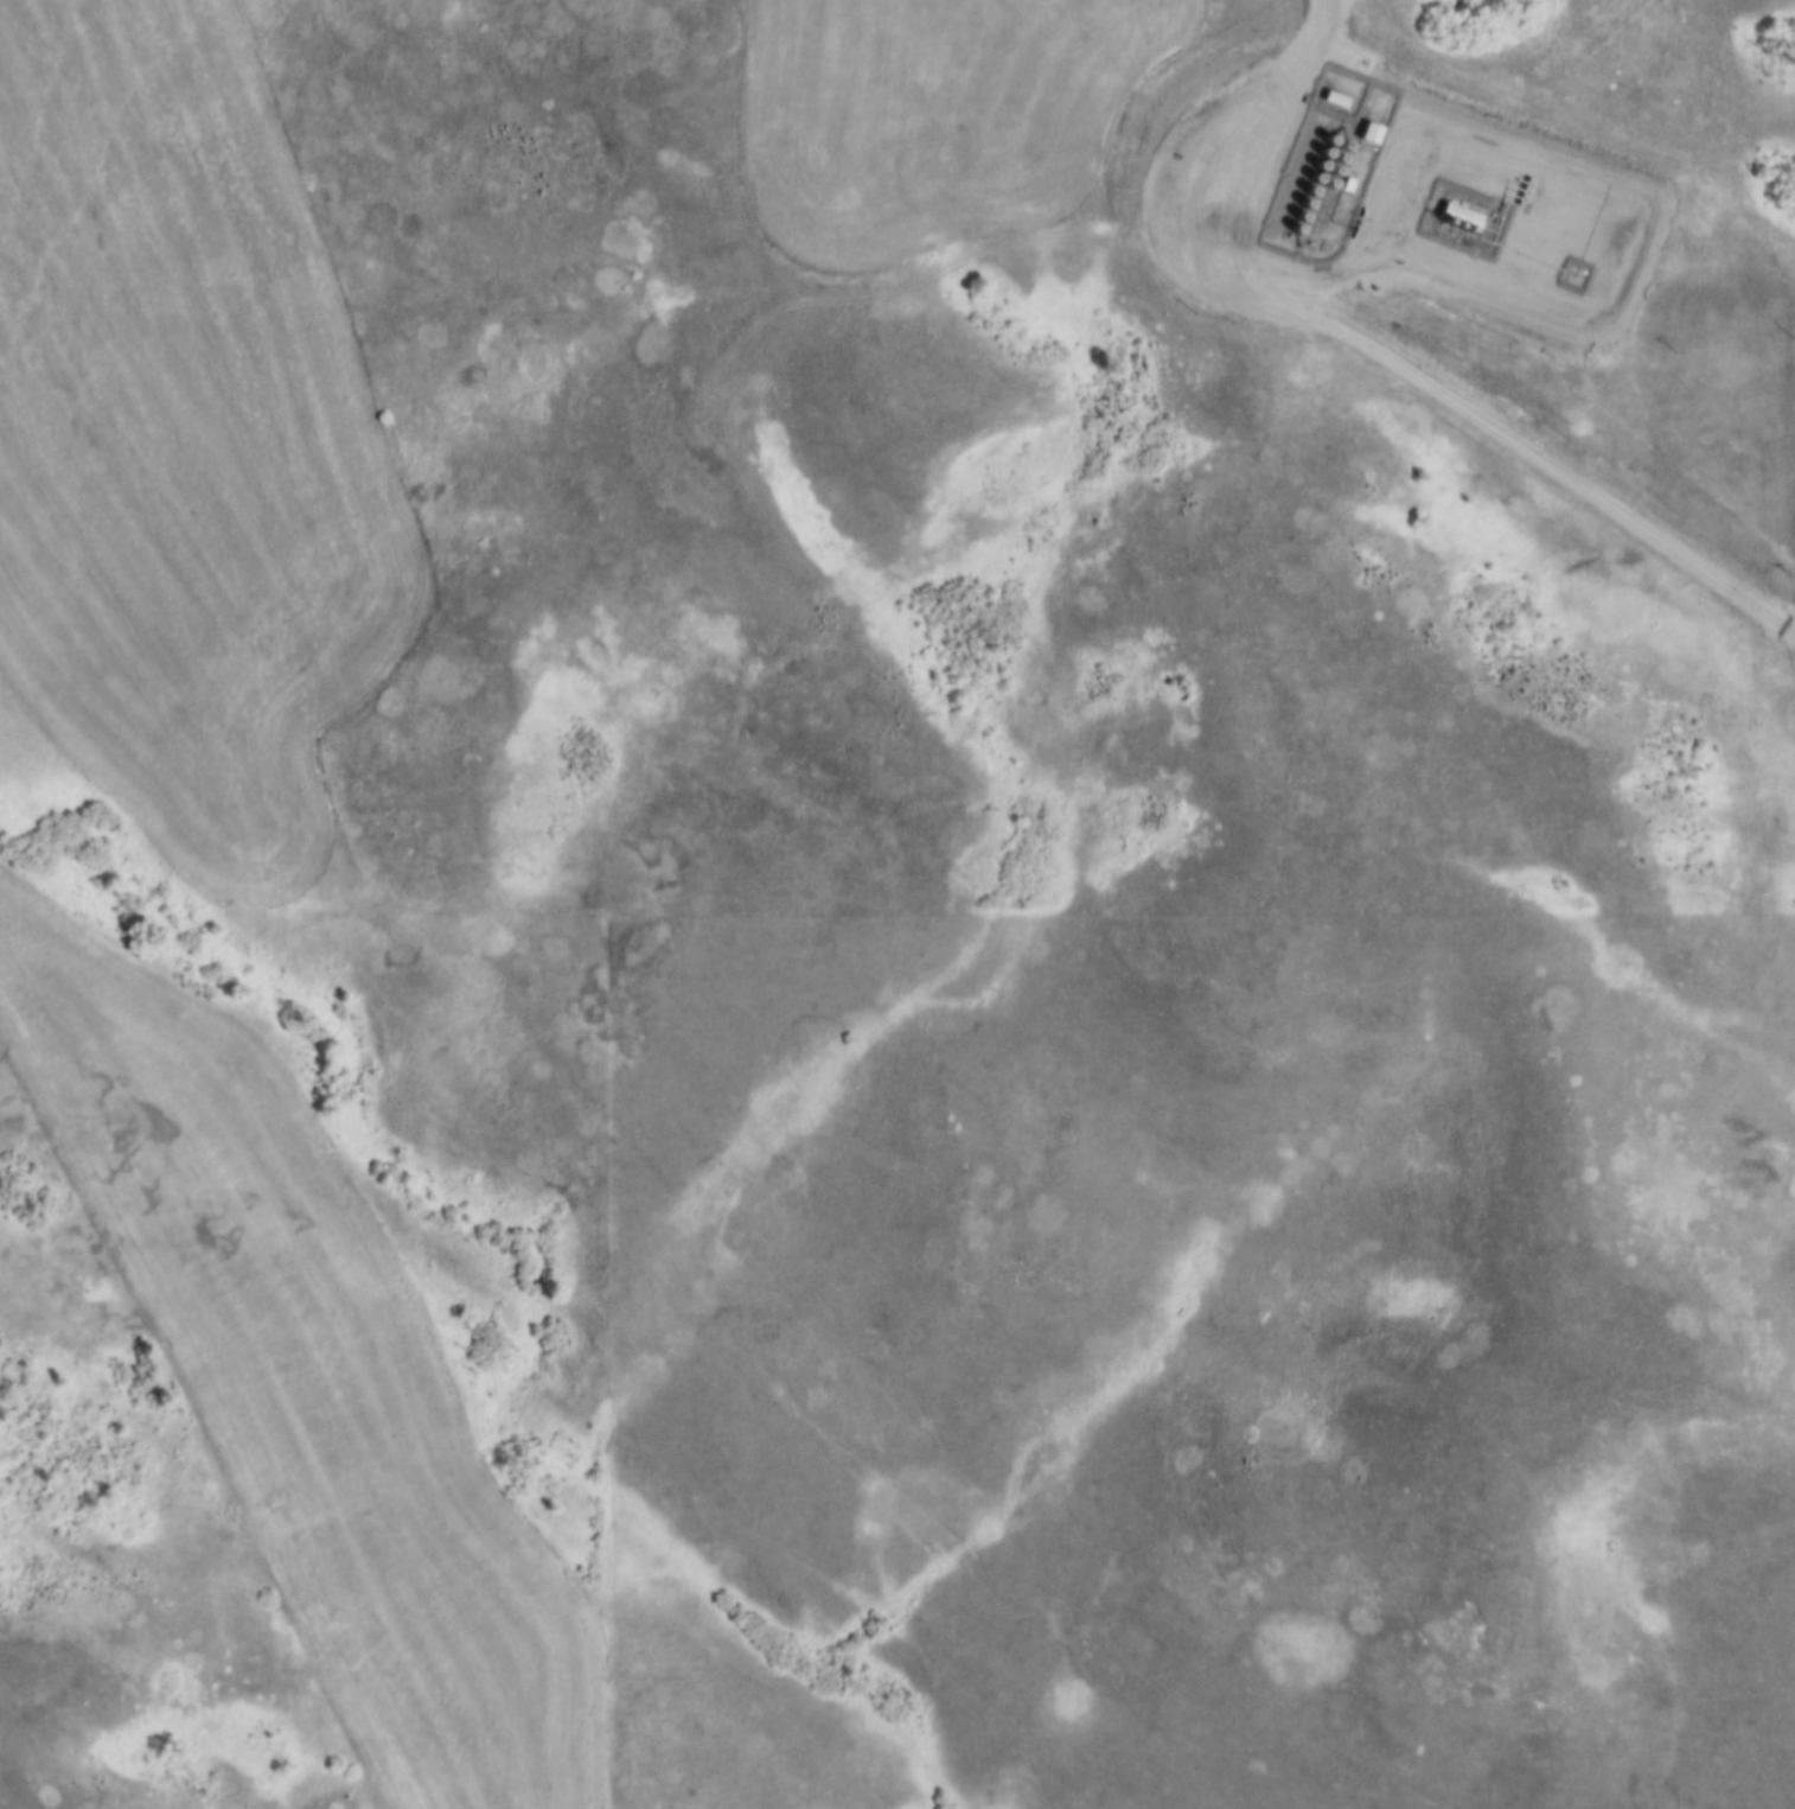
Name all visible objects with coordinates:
building: (1334, 97)
building: (1367, 132)
building: (1346, 183)
building: (1577, 278)
road: (1411, 361)

